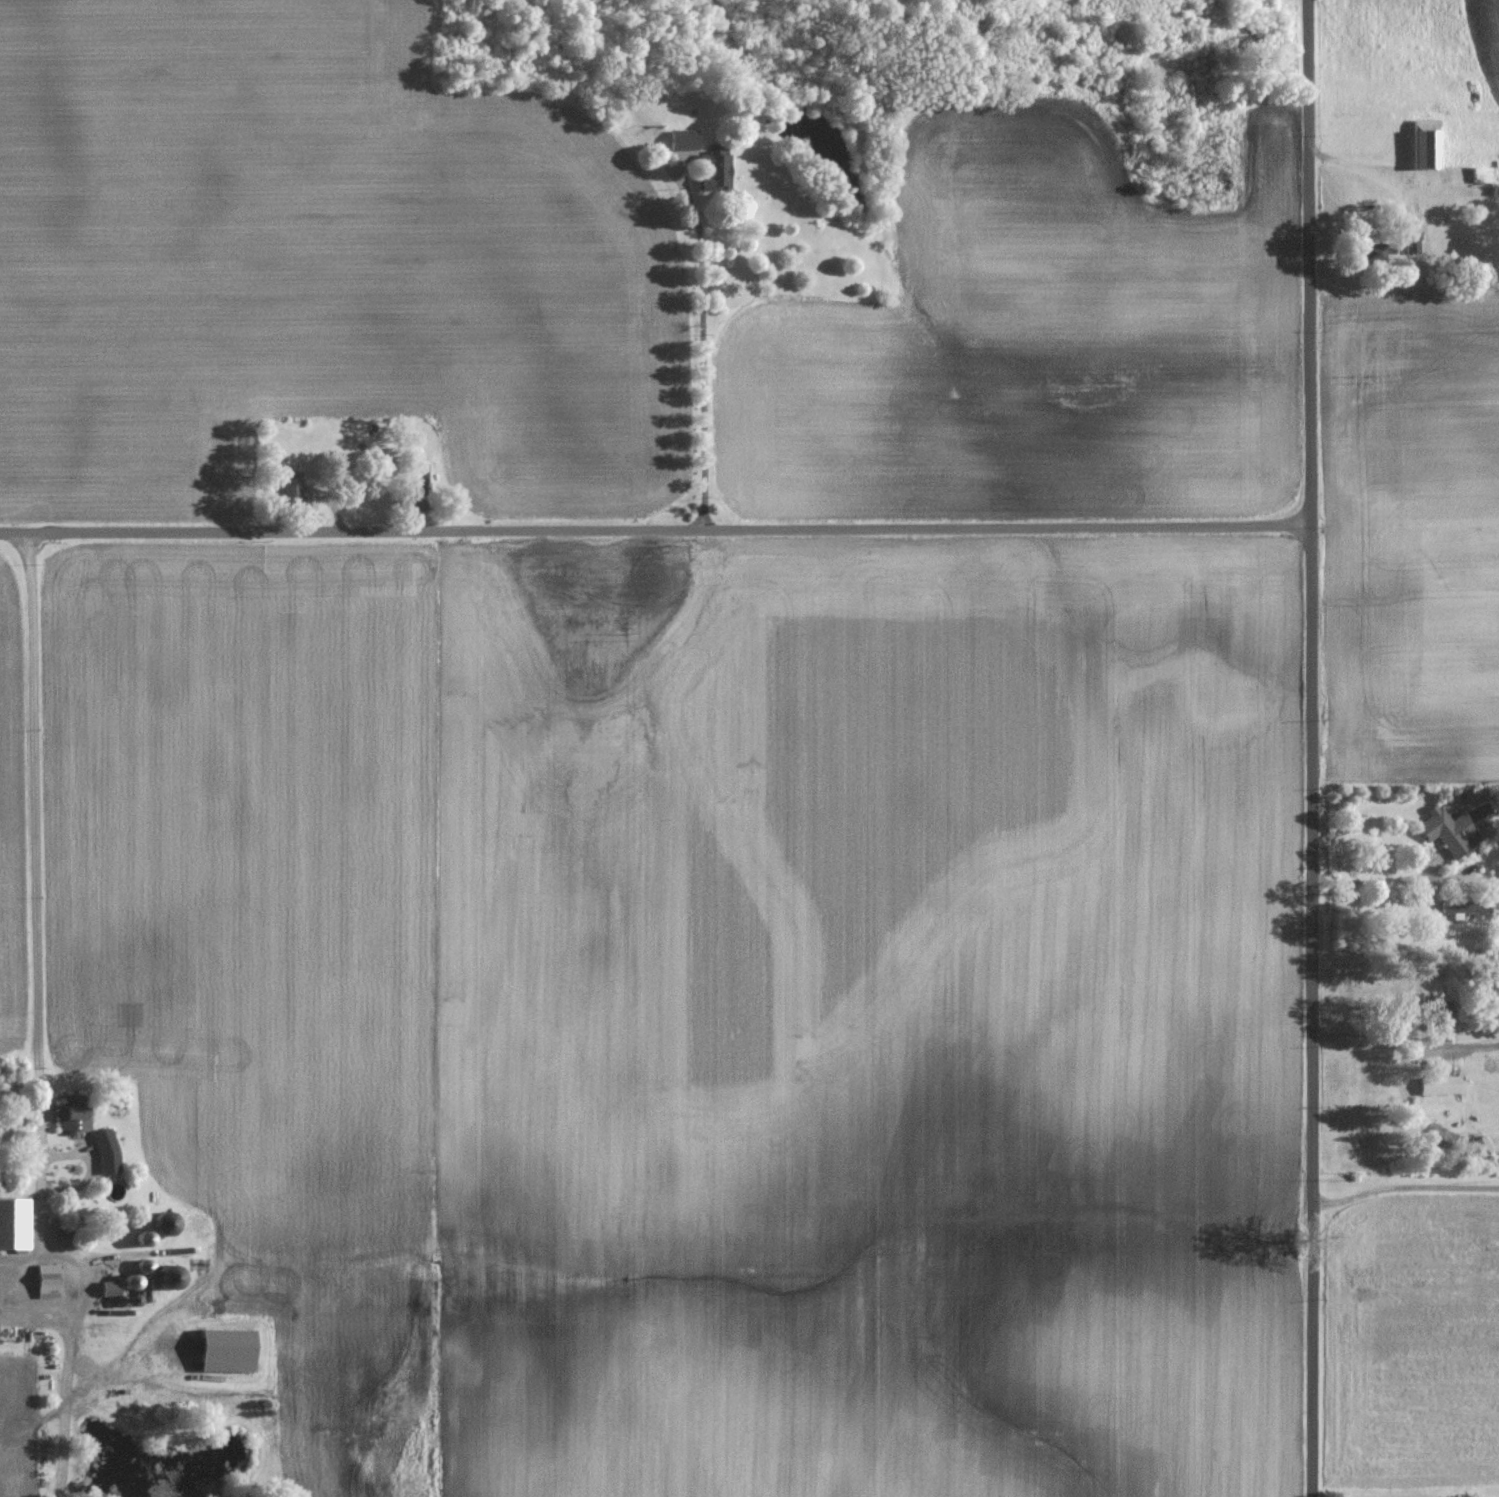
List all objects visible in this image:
building: (681, 140)
building: (1423, 144)
building: (710, 172)
building: (1480, 174)
building: (1411, 242)
building: (1365, 252)
road: (702, 263)
building: (289, 487)
building: (415, 497)
road: (656, 530)
road: (1312, 748)
building: (1446, 830)
road: (1378, 884)
building: (1496, 908)
building: (1436, 1010)
road: (41, 1021)
road: (1378, 1038)
building: (1438, 1085)
building: (70, 1113)
building: (104, 1151)
road: (1404, 1189)
building: (160, 1224)
building: (9, 1240)
building: (156, 1275)
building: (40, 1278)

